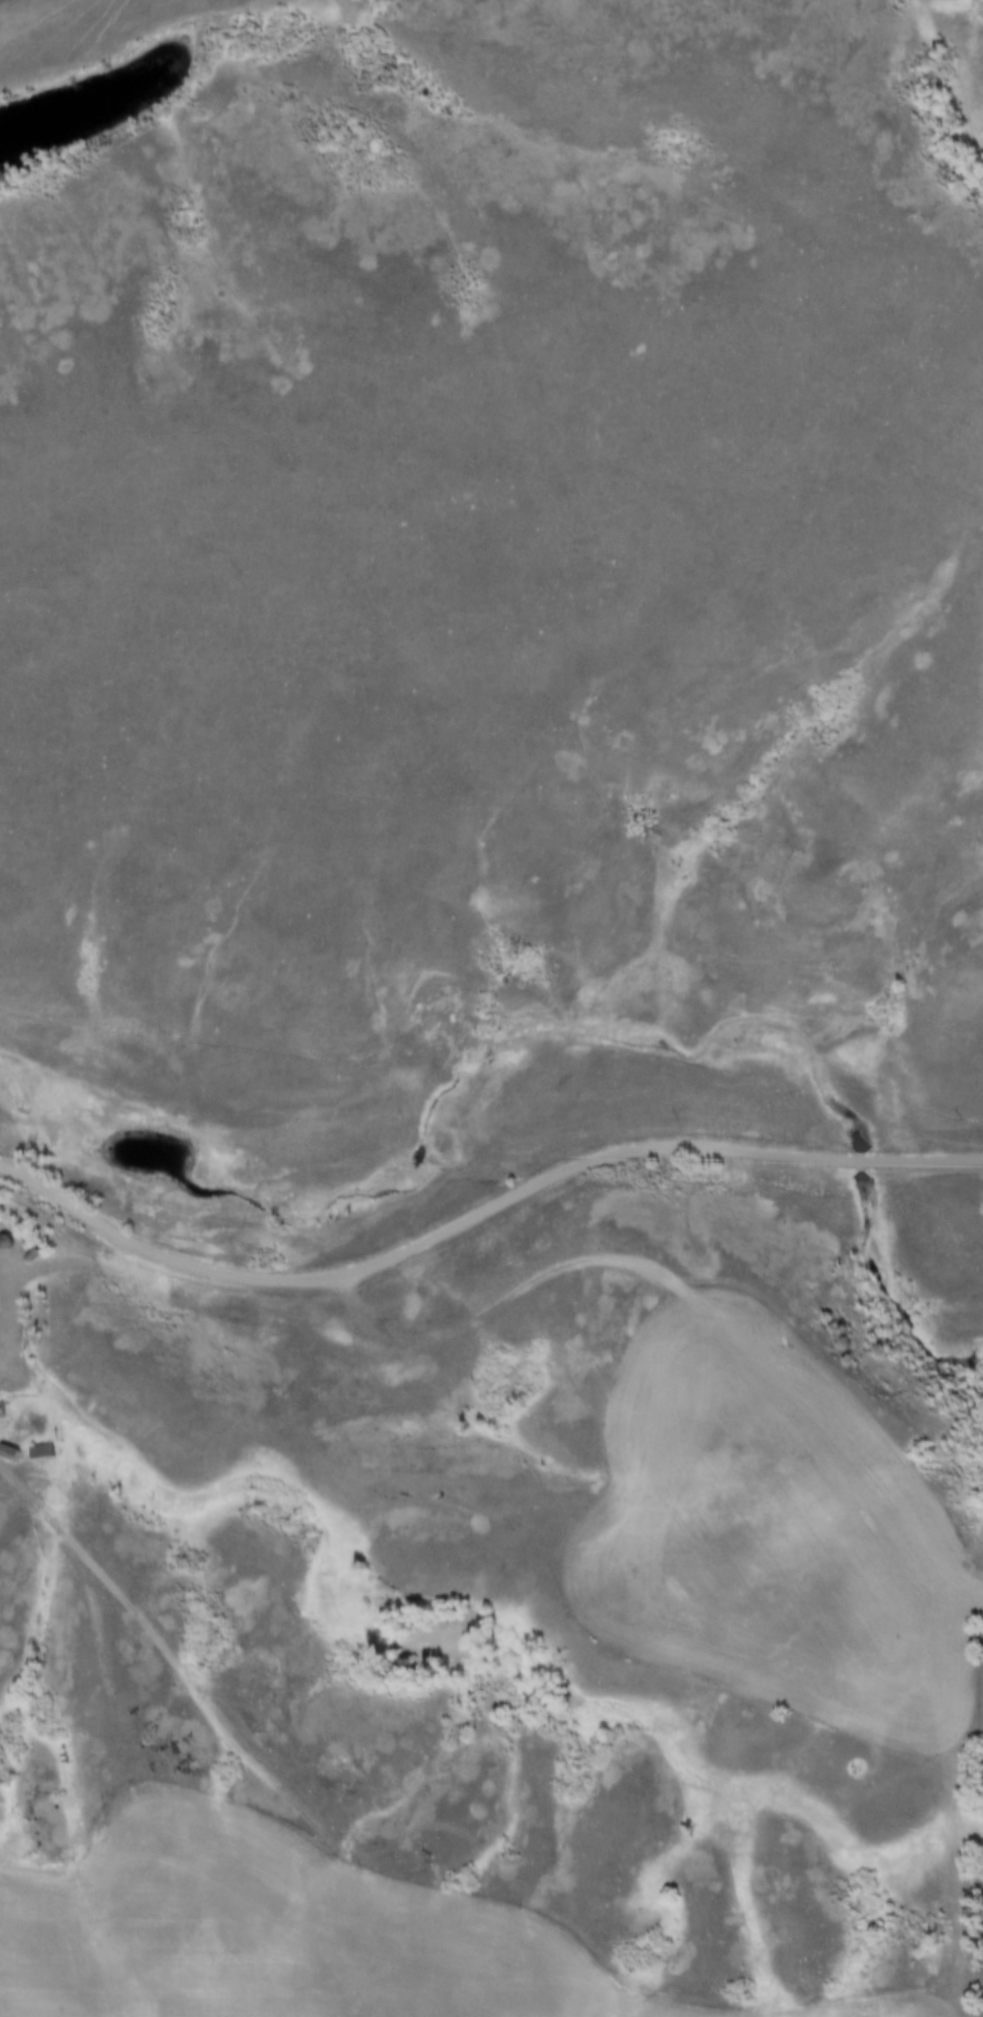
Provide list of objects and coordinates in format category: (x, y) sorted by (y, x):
road: (479, 1218)
building: (9, 1241)
building: (3, 1409)
building: (43, 1450)
building: (12, 1455)

